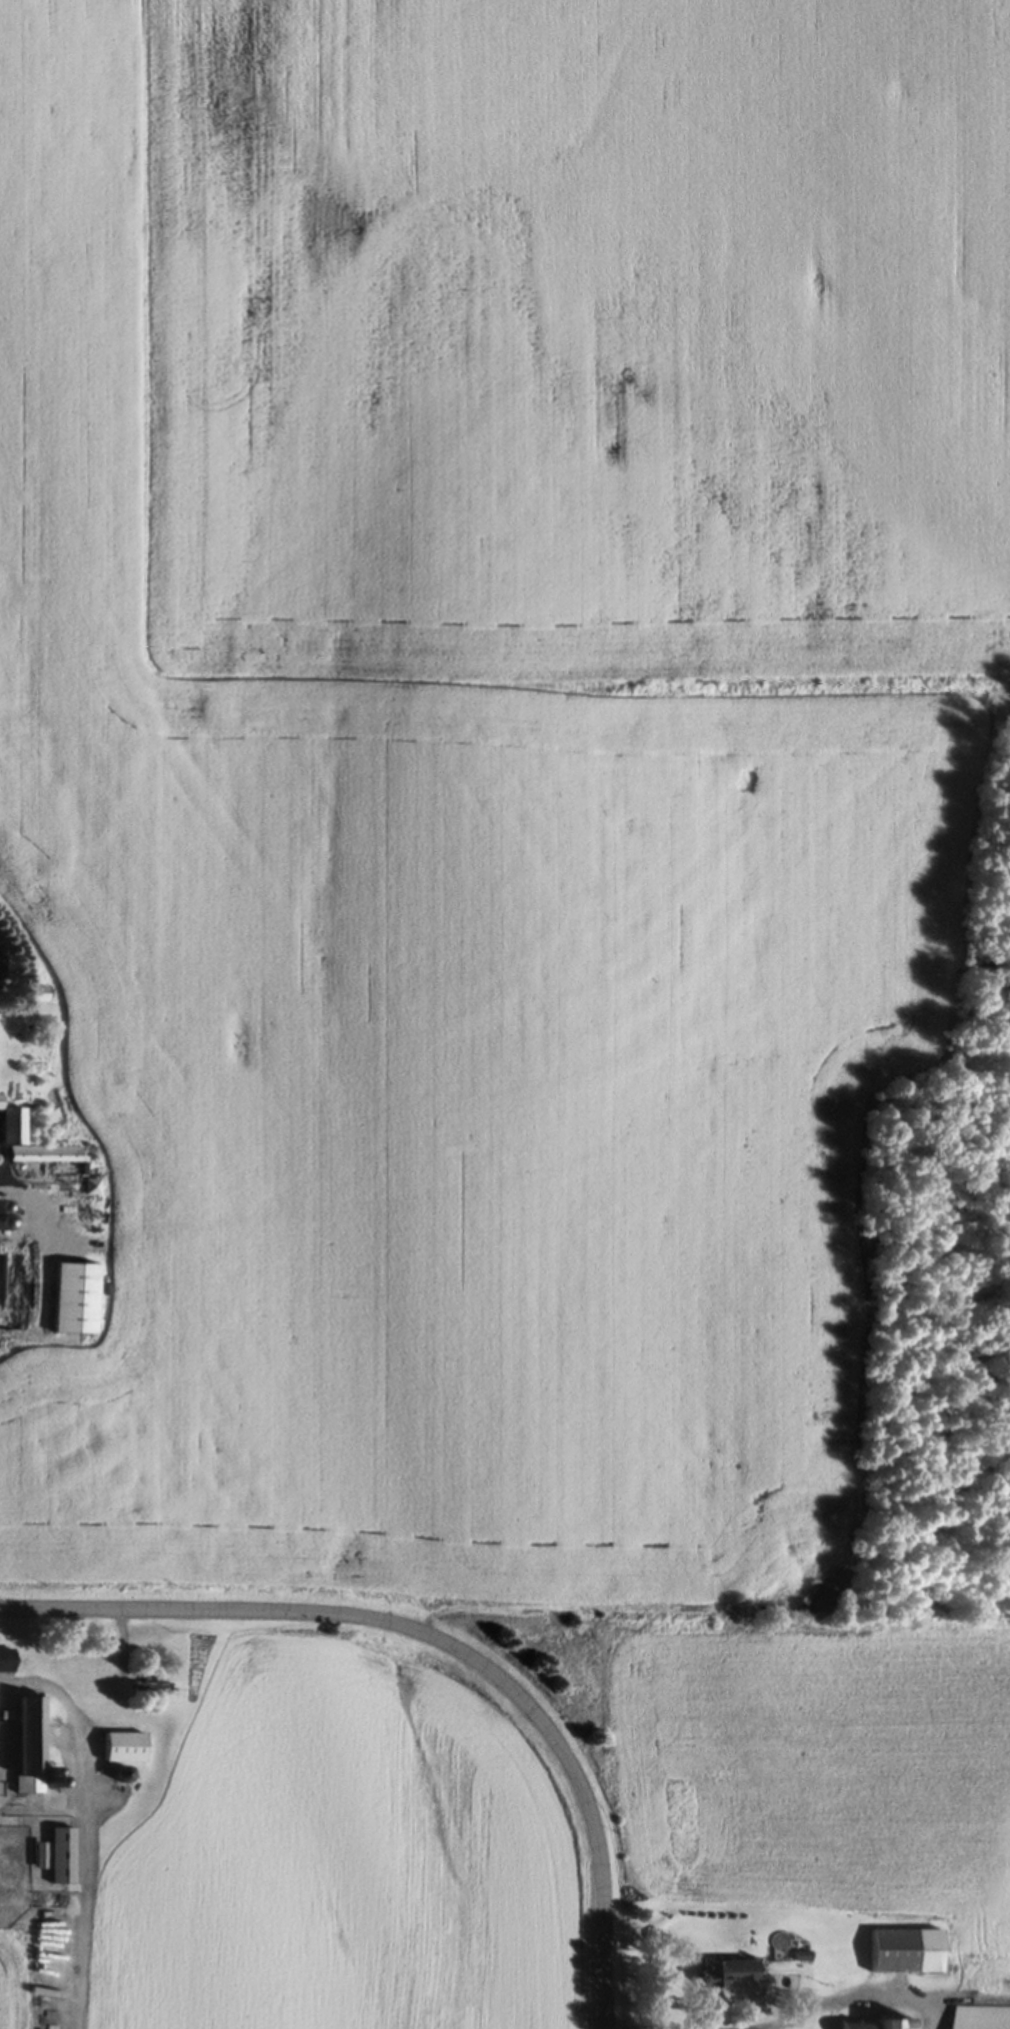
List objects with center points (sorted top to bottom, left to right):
building: (35, 995)
building: (12, 1129)
building: (1, 1276)
building: (75, 1301)
road: (445, 1641)
building: (7, 1662)
building: (153, 1687)
building: (31, 1746)
building: (125, 1750)
building: (61, 1843)
building: (909, 1953)
building: (728, 1975)
building: (872, 2025)

